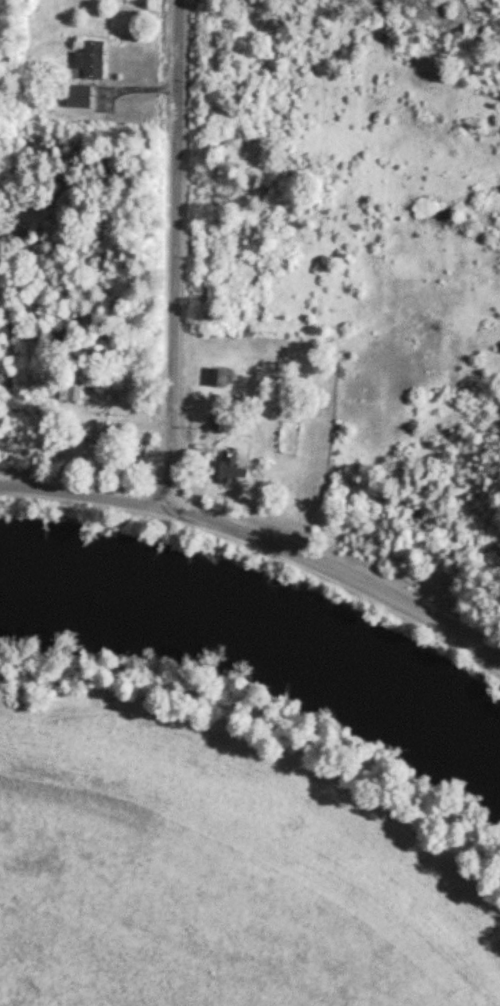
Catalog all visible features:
road: (135, 91)
building: (84, 98)
road: (177, 254)
building: (227, 377)
building: (224, 419)
road: (136, 426)
building: (97, 438)
building: (239, 470)
road: (204, 485)
road: (261, 540)
river: (263, 631)
road: (271, 760)

